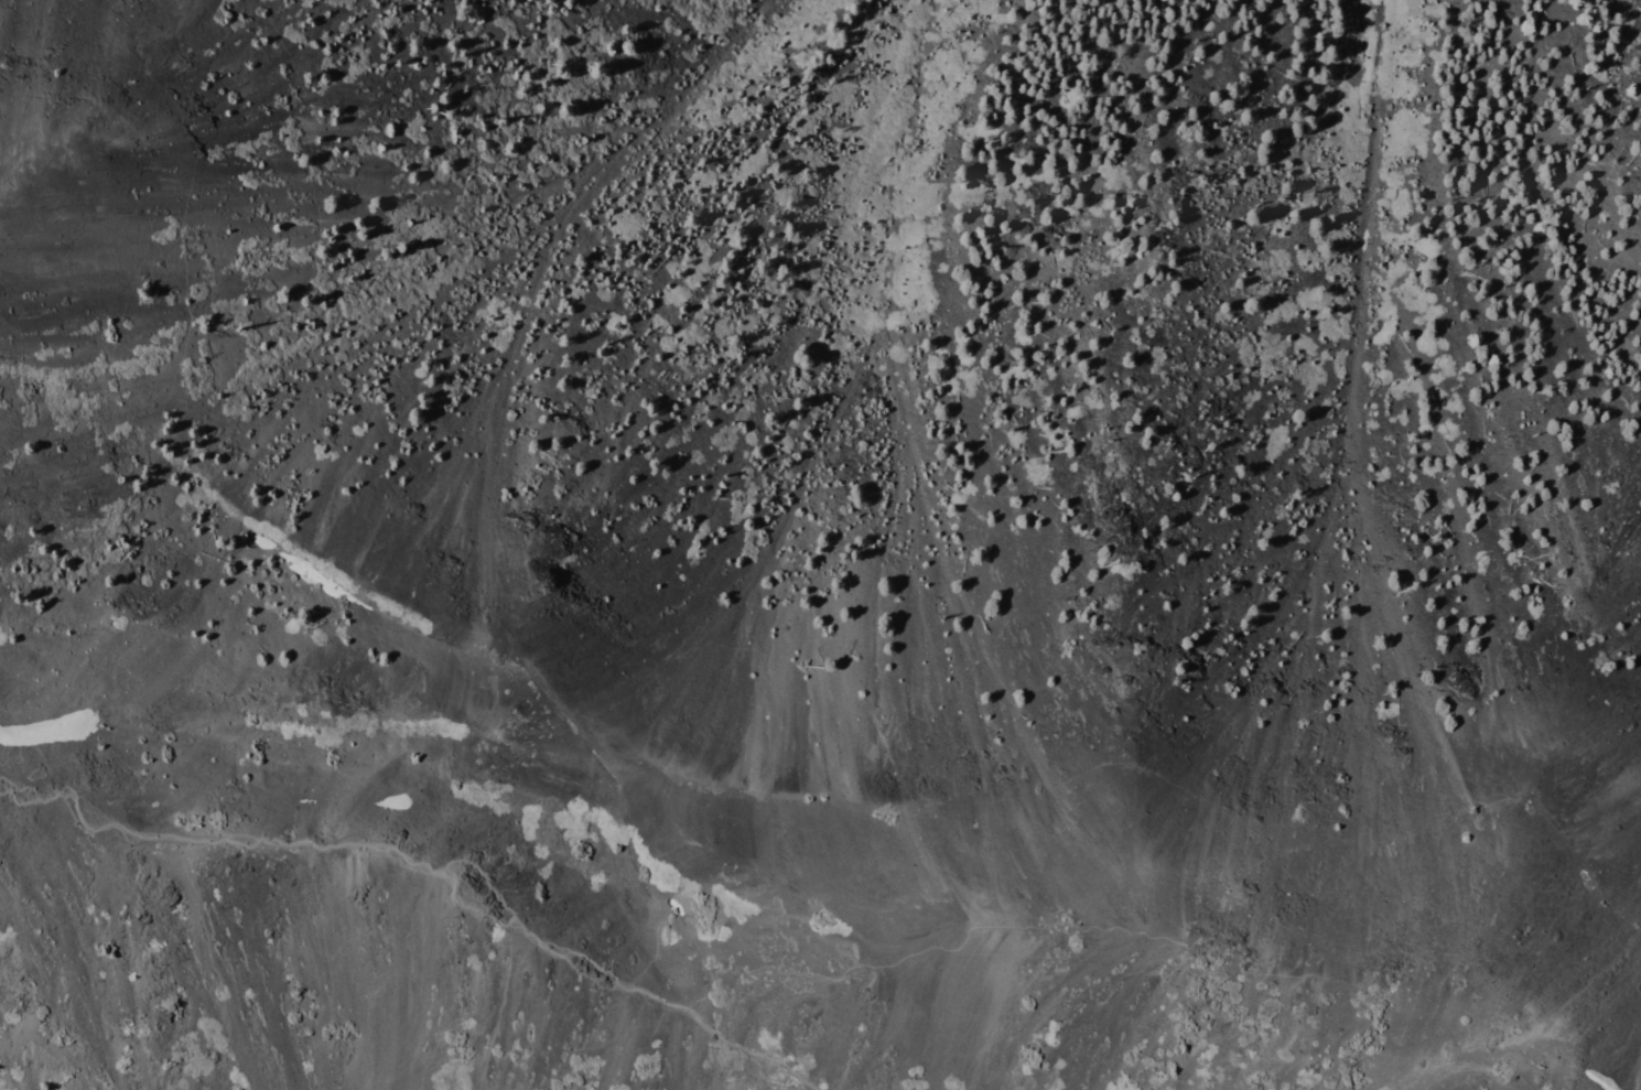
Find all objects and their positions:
road: (407, 859)
road: (1120, 928)

